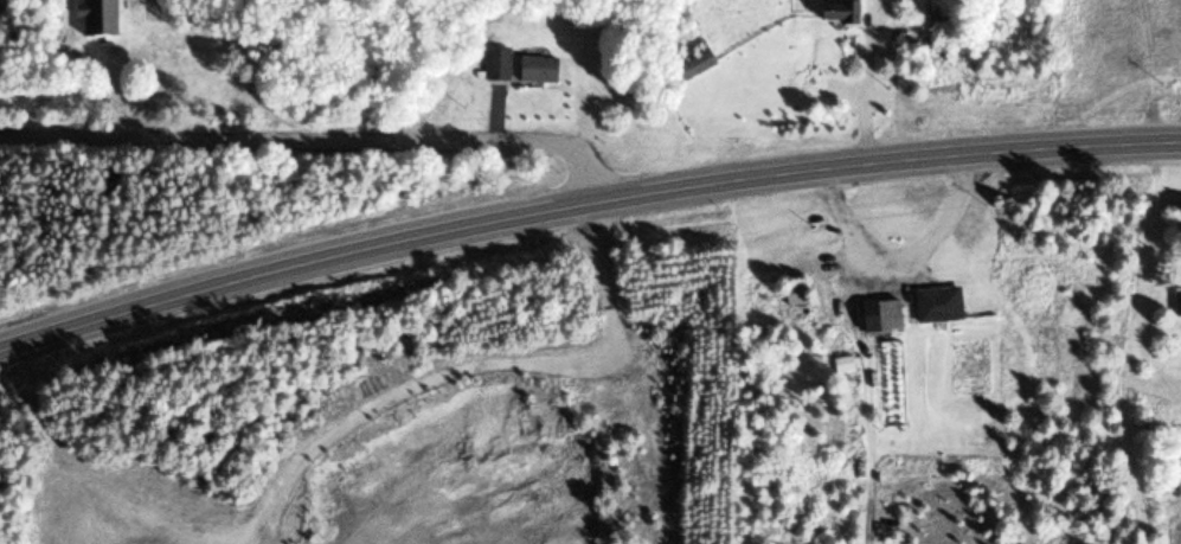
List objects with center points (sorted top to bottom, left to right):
building: (826, 15)
building: (691, 65)
building: (493, 66)
building: (532, 71)
road: (319, 136)
road: (582, 201)
building: (1175, 306)
building: (932, 307)
building: (874, 319)

